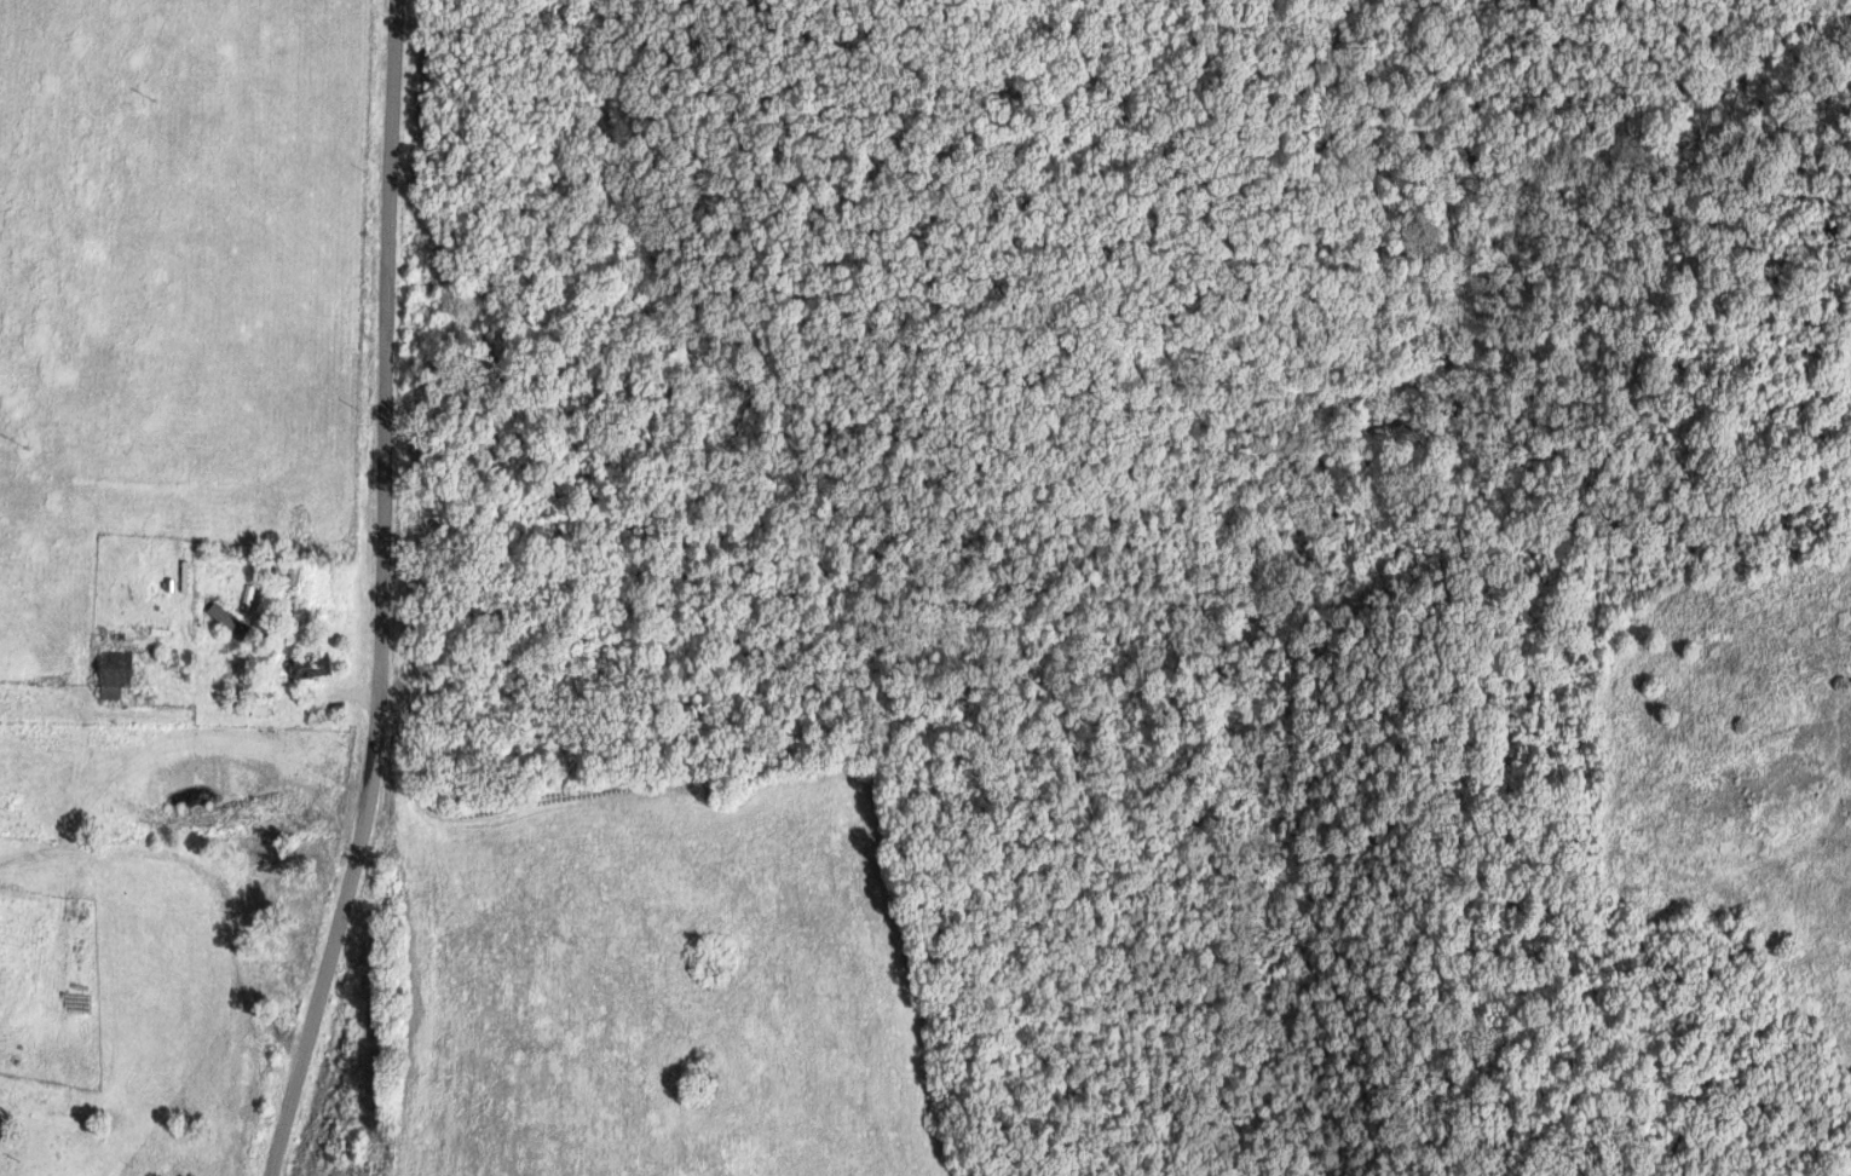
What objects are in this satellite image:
road: (370, 589)
building: (225, 621)
building: (308, 665)
building: (114, 671)
road: (181, 698)
road: (51, 857)
road: (68, 930)
road: (240, 932)

